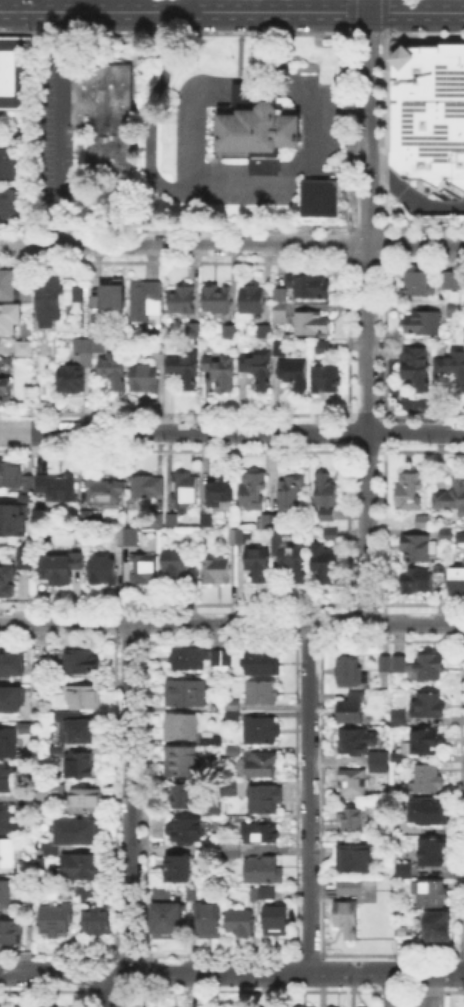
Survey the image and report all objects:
road: (29, 5)
road: (96, 5)
road: (367, 5)
road: (180, 6)
traffic signals: (367, 10)
road: (415, 11)
road: (183, 12)
road: (383, 13)
road: (349, 14)
road: (159, 15)
road: (193, 15)
road: (384, 30)
road: (348, 31)
road: (159, 32)
road: (193, 32)
road: (421, 33)
road: (180, 34)
road: (370, 34)
road: (273, 55)
building: (15, 70)
road: (242, 89)
road: (58, 102)
building: (428, 112)
building: (104, 113)
road: (195, 120)
road: (366, 127)
building: (257, 129)
road: (378, 157)
building: (8, 163)
road: (201, 185)
road: (409, 195)
building: (320, 196)
building: (7, 200)
road: (231, 244)
building: (454, 282)
building: (9, 284)
building: (311, 286)
building: (421, 286)
building: (47, 300)
building: (218, 300)
building: (253, 300)
building: (183, 301)
building: (111, 302)
building: (146, 302)
building: (281, 306)
building: (455, 310)
building: (11, 319)
building: (425, 322)
building: (313, 325)
building: (194, 331)
building: (265, 332)
building: (231, 333)
building: (83, 345)
building: (277, 346)
building: (98, 347)
building: (157, 348)
building: (323, 348)
building: (24, 350)
building: (417, 367)
building: (452, 367)
building: (186, 369)
building: (258, 370)
building: (114, 371)
building: (221, 371)
building: (294, 374)
building: (73, 379)
building: (327, 379)
building: (145, 380)
building: (5, 391)
road: (232, 431)
road: (364, 433)
building: (14, 475)
building: (149, 487)
building: (185, 489)
building: (59, 490)
building: (253, 491)
building: (106, 492)
building: (410, 492)
building: (220, 494)
building: (290, 496)
building: (326, 496)
building: (452, 497)
building: (27, 499)
building: (87, 519)
building: (171, 519)
building: (207, 521)
building: (272, 521)
building: (13, 522)
building: (424, 523)
building: (453, 533)
building: (332, 535)
building: (238, 538)
building: (131, 540)
building: (419, 550)
building: (28, 559)
building: (291, 559)
building: (325, 563)
building: (260, 564)
building: (62, 567)
building: (176, 567)
building: (145, 569)
building: (105, 571)
building: (217, 572)
building: (418, 582)
building: (458, 582)
building: (7, 583)
road: (65, 622)
road: (247, 623)
road: (414, 623)
building: (189, 658)
building: (222, 659)
building: (83, 662)
building: (263, 663)
building: (12, 665)
building: (385, 665)
building: (398, 665)
building: (431, 670)
building: (40, 671)
building: (349, 671)
building: (188, 694)
building: (263, 694)
building: (85, 696)
building: (11, 701)
building: (431, 706)
building: (39, 707)
building: (234, 709)
building: (353, 709)
building: (400, 718)
building: (184, 727)
building: (77, 728)
building: (263, 731)
building: (11, 740)
building: (214, 742)
building: (357, 743)
building: (427, 743)
building: (59, 751)
building: (235, 752)
building: (182, 762)
building: (380, 762)
building: (262, 765)
building: (81, 766)
building: (6, 779)
building: (429, 779)
building: (354, 783)
building: (62, 787)
building: (231, 788)
building: (185, 796)
road: (309, 798)
road: (129, 799)
building: (266, 800)
building: (86, 801)
building: (25, 805)
building: (215, 810)
building: (432, 814)
building: (353, 820)
building: (8, 821)
building: (186, 830)
building: (83, 832)
building: (261, 834)
building: (233, 848)
building: (52, 851)
building: (7, 854)
building: (433, 854)
building: (356, 857)
building: (84, 867)
building: (402, 868)
building: (180, 870)
building: (263, 870)
building: (357, 887)
building: (83, 890)
building: (159, 892)
building: (196, 892)
building: (9, 894)
building: (264, 894)
building: (432, 895)
building: (208, 920)
building: (348, 920)
building: (97, 921)
building: (277, 921)
building: (56, 922)
building: (168, 922)
building: (241, 924)
building: (438, 929)
building: (11, 935)
road: (59, 972)
road: (290, 972)
road: (107, 988)
road: (431, 990)
building: (61, 1006)

